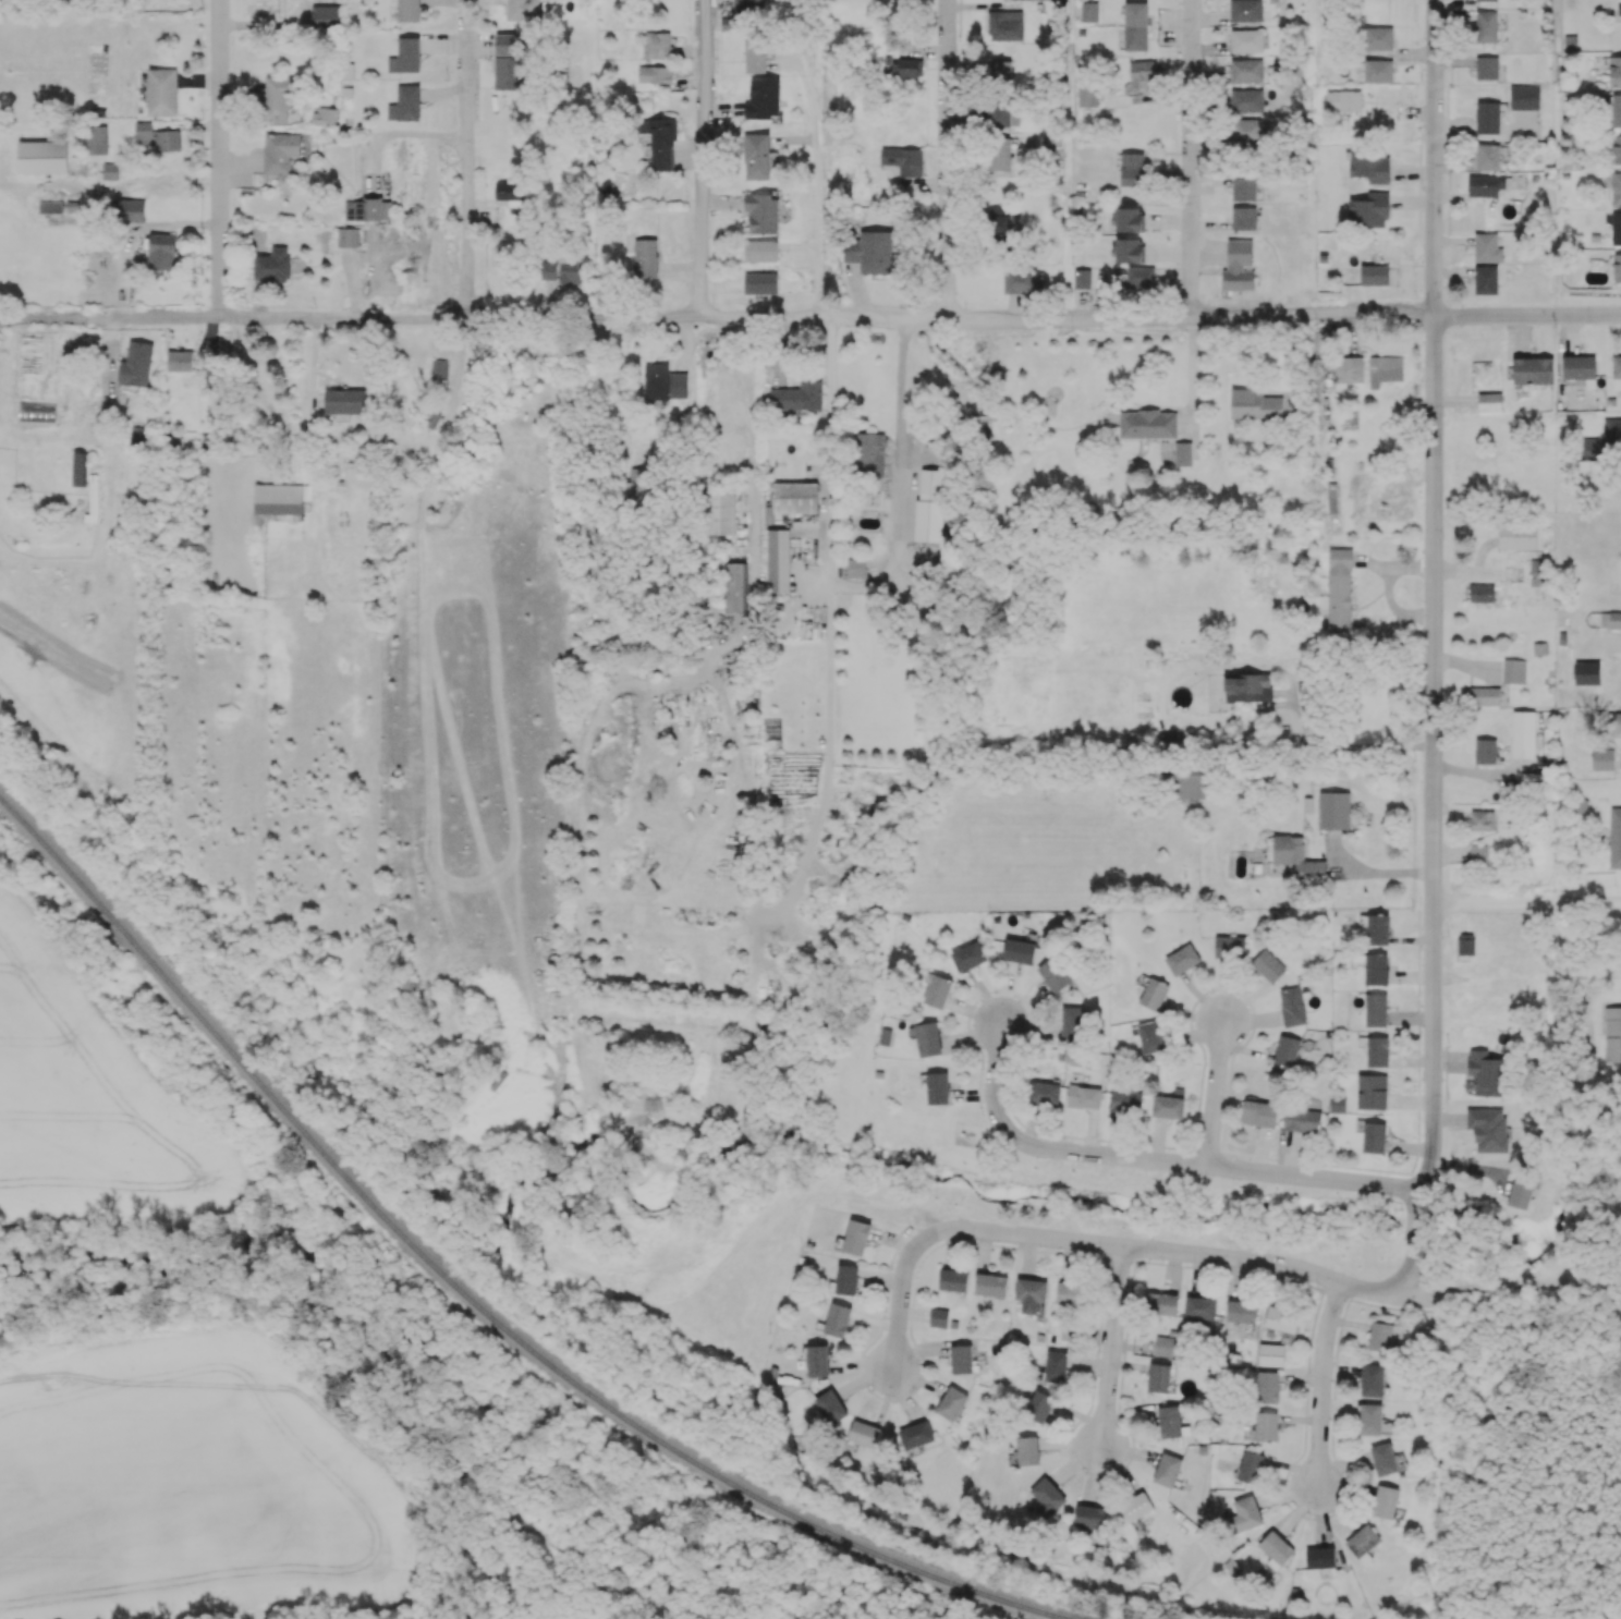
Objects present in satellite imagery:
building: (1492, 0)
building: (747, 5)
building: (1619, 8)
building: (524, 9)
building: (409, 10)
building: (1245, 10)
building: (1089, 11)
building: (326, 14)
building: (1005, 25)
building: (1135, 25)
building: (1486, 26)
building: (1377, 38)
building: (1246, 40)
building: (507, 44)
building: (658, 44)
building: (755, 53)
building: (405, 56)
building: (903, 66)
building: (1487, 66)
building: (1001, 70)
building: (1246, 70)
building: (1378, 71)
building: (1614, 71)
building: (507, 72)
building: (1143, 73)
building: (655, 74)
building: (162, 92)
building: (1087, 92)
building: (1524, 96)
building: (278, 97)
building: (764, 99)
building: (1247, 100)
building: (1343, 100)
building: (405, 104)
building: (1617, 110)
building: (1002, 112)
building: (325, 117)
building: (1488, 117)
building: (1246, 131)
building: (144, 133)
building: (1052, 138)
building: (97, 139)
building: (167, 139)
building: (660, 142)
building: (1618, 149)
building: (280, 151)
building: (998, 154)
building: (42, 156)
building: (758, 156)
building: (1488, 156)
road: (467, 158)
road: (702, 158)
road: (1190, 158)
road: (220, 159)
building: (903, 159)
road: (946, 160)
building: (110, 169)
building: (1132, 169)
building: (1485, 184)
road: (98, 186)
building: (1243, 187)
building: (1617, 188)
building: (511, 194)
road: (816, 195)
building: (50, 206)
building: (130, 209)
building: (367, 209)
building: (763, 212)
building: (1244, 217)
building: (1130, 219)
building: (999, 223)
building: (1616, 228)
building: (348, 236)
building: (868, 247)
building: (1487, 247)
building: (1130, 249)
building: (161, 251)
building: (760, 251)
building: (645, 257)
building: (1239, 263)
building: (272, 265)
building: (1617, 267)
building: (570, 268)
building: (547, 269)
building: (1375, 275)
building: (1141, 277)
building: (1082, 278)
building: (1485, 279)
building: (1021, 280)
building: (760, 282)
road: (810, 317)
building: (173, 363)
building: (136, 364)
building: (1350, 368)
building: (1580, 368)
building: (1385, 369)
building: (1533, 370)
building: (1617, 372)
road: (1193, 376)
building: (665, 381)
road: (830, 387)
building: (799, 395)
building: (345, 401)
building: (1489, 401)
building: (1254, 404)
road: (751, 414)
building: (1148, 423)
building: (1611, 429)
building: (136, 437)
building: (1587, 448)
building: (870, 453)
building: (1183, 453)
building: (81, 468)
building: (639, 487)
building: (795, 497)
building: (279, 500)
building: (929, 504)
building: (719, 510)
building: (1518, 534)
road: (894, 538)
building: (778, 560)
building: (856, 568)
building: (1538, 572)
building: (736, 586)
building: (1339, 592)
building: (1482, 592)
building: (1610, 619)
road: (1434, 645)
building: (1514, 670)
building: (1587, 672)
building: (1247, 686)
building: (1485, 695)
building: (1613, 721)
building: (1523, 734)
building: (1170, 740)
road: (1345, 744)
building: (1485, 751)
building: (1602, 758)
building: (1186, 781)
building: (1334, 809)
building: (1480, 819)
building: (1614, 837)
building: (1478, 853)
building: (1295, 854)
road: (1370, 872)
road: (1526, 902)
building: (1378, 928)
building: (1466, 944)
building: (1230, 946)
building: (1019, 950)
building: (967, 955)
building: (1182, 959)
building: (1268, 965)
building: (1376, 969)
building: (1055, 974)
building: (938, 990)
building: (1154, 994)
building: (1292, 1006)
building: (1376, 1009)
building: (1073, 1021)
building: (1612, 1033)
building: (1150, 1036)
building: (928, 1038)
building: (1287, 1050)
building: (1378, 1050)
building: (1486, 1073)
road: (994, 1085)
building: (937, 1087)
building: (1372, 1091)
building: (1044, 1093)
road: (1214, 1093)
building: (1084, 1096)
building: (1125, 1100)
building: (1338, 1104)
building: (1168, 1106)
building: (1259, 1112)
building: (1302, 1119)
building: (1489, 1128)
building: (1374, 1137)
road: (1219, 1166)
building: (1519, 1194)
park: (888, 1201)
building: (856, 1237)
road: (1294, 1268)
road: (902, 1277)
building: (846, 1279)
building: (953, 1279)
building: (991, 1285)
building: (1071, 1292)
building: (1031, 1293)
railway: (467, 1297)
building: (1161, 1303)
building: (1199, 1306)
building: (1241, 1311)
building: (938, 1317)
building: (1281, 1318)
building: (838, 1319)
building: (1380, 1336)
building: (1163, 1346)
road: (1111, 1347)
building: (1271, 1354)
building: (961, 1359)
building: (818, 1360)
building: (1056, 1366)
building: (1158, 1377)
building: (1372, 1379)
road: (1321, 1385)
building: (1268, 1387)
building: (952, 1402)
building: (831, 1405)
building: (1039, 1407)
building: (1370, 1417)
building: (1169, 1421)
building: (1266, 1426)
building: (864, 1433)
building: (916, 1434)
building: (1027, 1450)
building: (1384, 1459)
building: (1251, 1466)
building: (1167, 1469)
building: (1047, 1496)
building: (1385, 1501)
building: (1136, 1506)
building: (1244, 1514)
building: (1089, 1515)
building: (1362, 1541)
building: (1276, 1549)
building: (1320, 1561)

